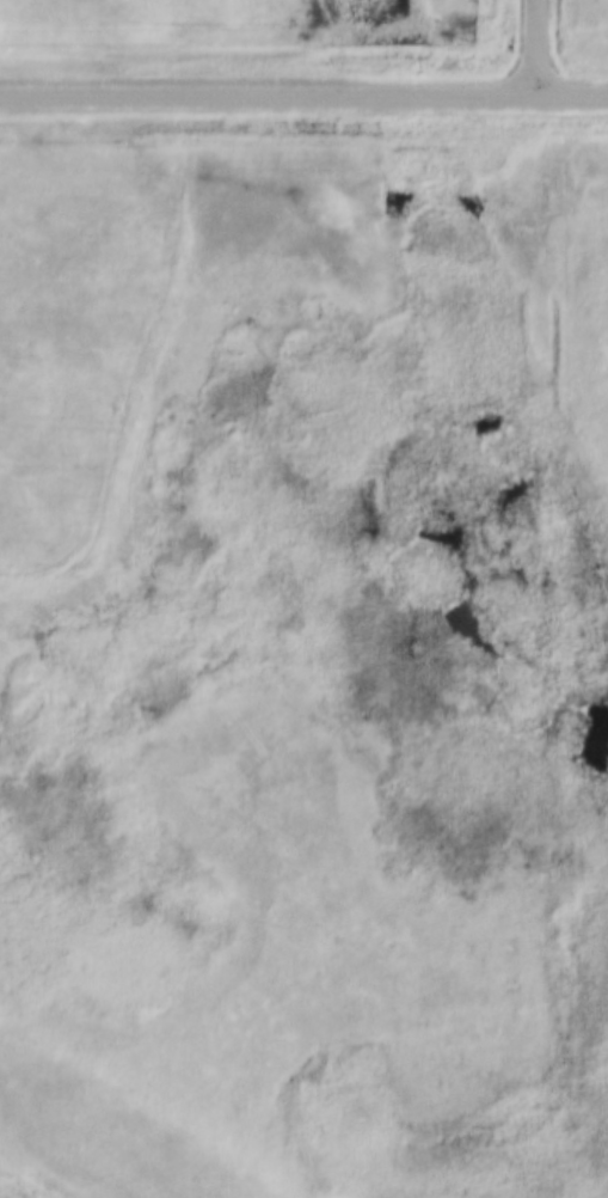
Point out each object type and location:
road: (526, 47)
road: (303, 92)

